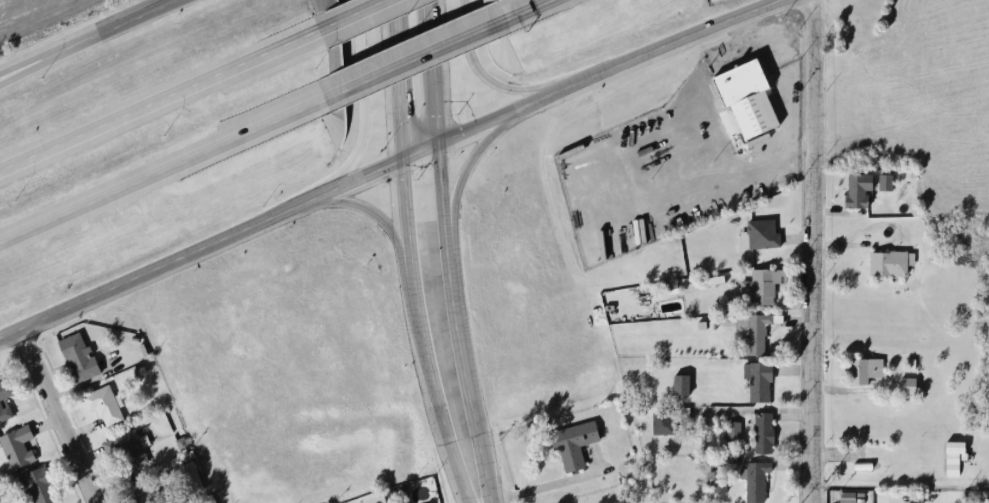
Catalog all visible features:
building: (321, 3)
road: (524, 10)
road: (355, 15)
road: (104, 30)
road: (412, 59)
road: (17, 67)
road: (17, 69)
road: (434, 72)
road: (486, 76)
road: (396, 81)
building: (752, 88)
road: (160, 101)
road: (363, 107)
traffic signals: (439, 145)
road: (468, 161)
traffic signals: (401, 163)
road: (387, 169)
road: (163, 170)
building: (887, 174)
building: (860, 182)
building: (884, 182)
road: (374, 211)
building: (764, 226)
road: (814, 251)
building: (891, 255)
building: (764, 278)
building: (757, 323)
road: (454, 324)
road: (421, 336)
building: (81, 353)
building: (864, 363)
building: (759, 372)
building: (684, 376)
building: (908, 380)
building: (680, 385)
building: (8, 391)
building: (105, 399)
building: (670, 412)
road: (55, 418)
building: (765, 425)
building: (732, 432)
building: (576, 436)
building: (21, 440)
building: (130, 444)
building: (757, 473)
building: (721, 474)
building: (43, 479)
building: (147, 487)
building: (569, 501)

